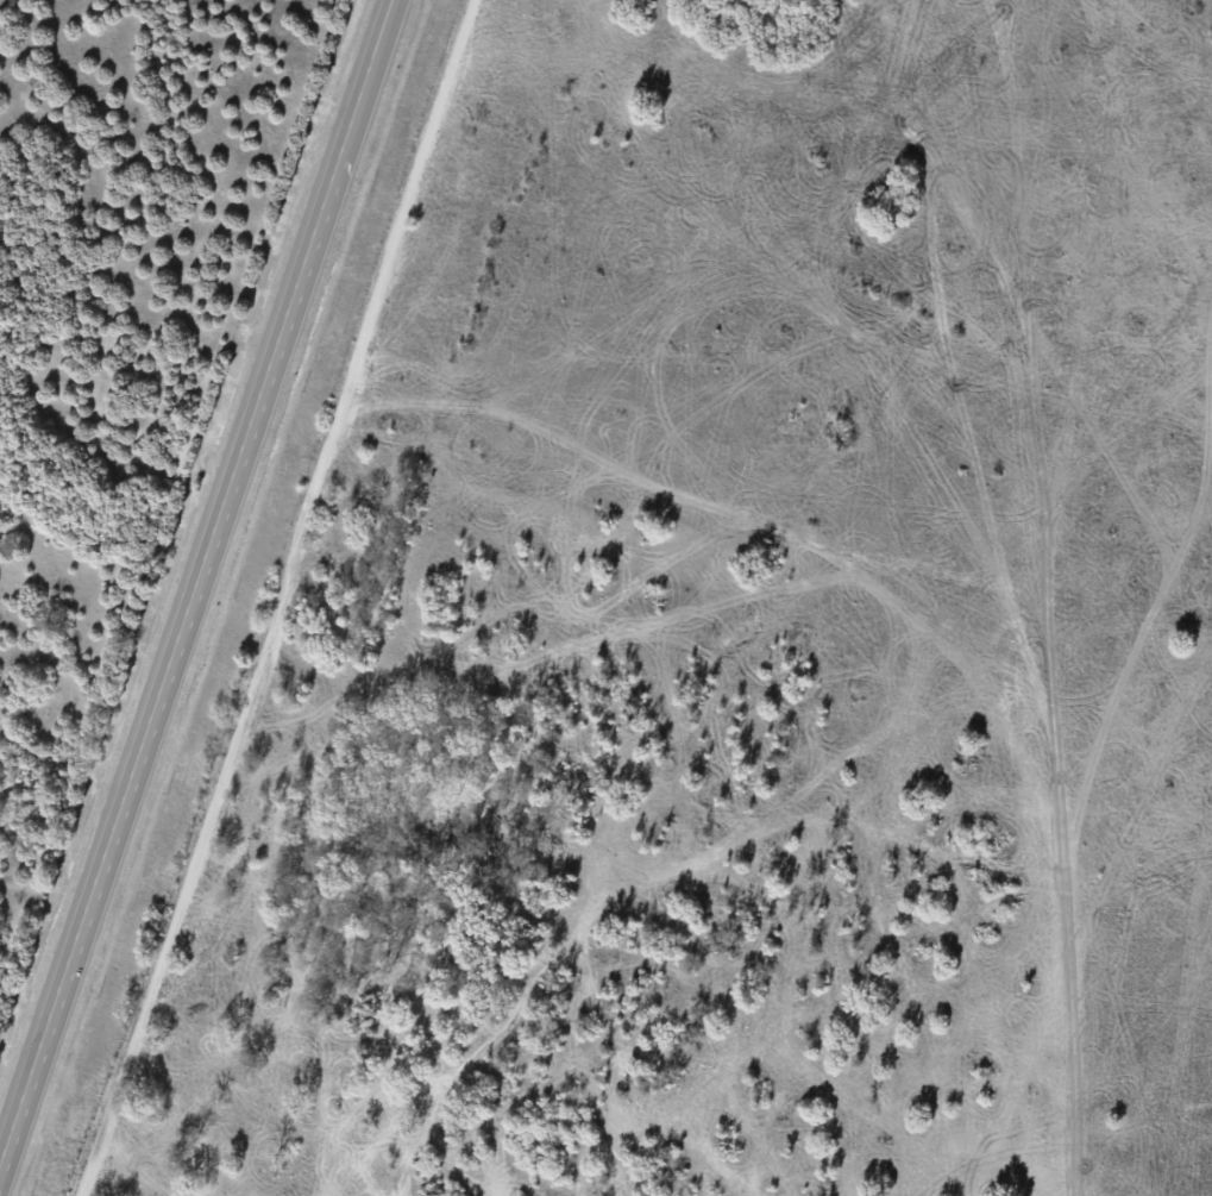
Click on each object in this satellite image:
road: (195, 576)

